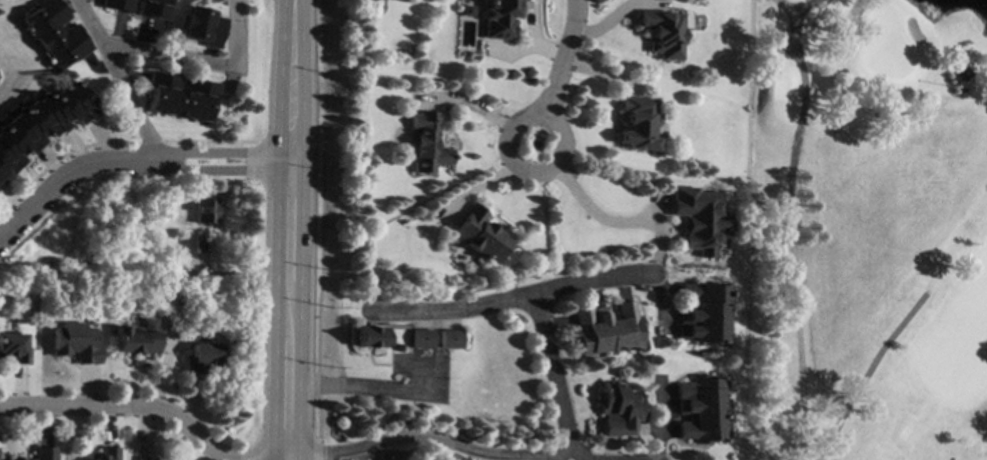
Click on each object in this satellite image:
building: (117, 5)
road: (794, 8)
building: (155, 9)
building: (498, 17)
building: (202, 27)
building: (663, 32)
building: (54, 33)
road: (202, 61)
road: (566, 63)
building: (964, 73)
road: (116, 79)
building: (180, 97)
road: (475, 101)
building: (40, 123)
building: (638, 123)
road: (515, 124)
building: (426, 142)
road: (133, 159)
building: (205, 211)
building: (699, 218)
road: (620, 224)
road: (293, 229)
park: (867, 230)
road: (790, 233)
building: (481, 234)
building: (191, 244)
building: (643, 289)
road: (510, 298)
building: (703, 313)
building: (607, 329)
building: (371, 337)
building: (136, 338)
building: (422, 338)
building: (451, 338)
building: (74, 343)
building: (14, 349)
building: (202, 358)
road: (866, 372)
road: (554, 376)
building: (621, 409)
building: (703, 409)
road: (154, 414)
road: (415, 436)
building: (41, 454)
building: (104, 454)
building: (145, 458)
road: (304, 459)
road: (317, 459)

